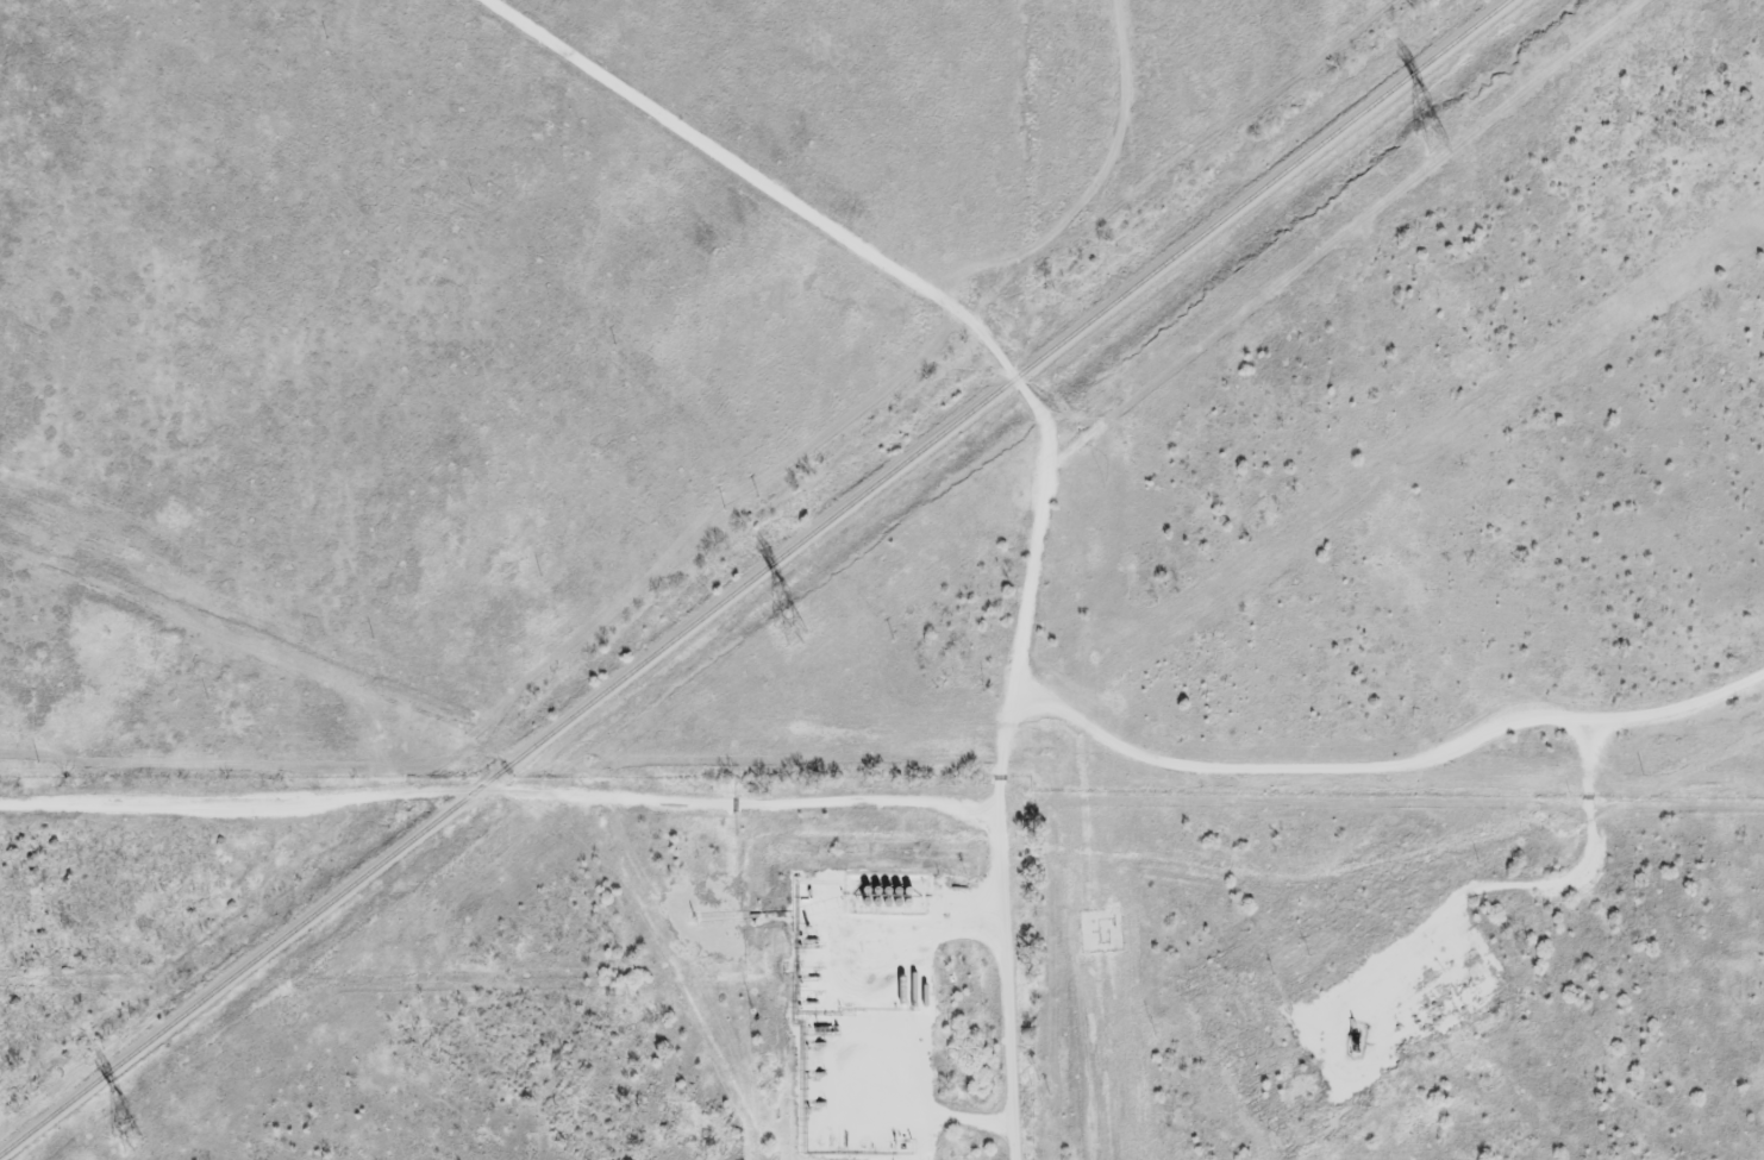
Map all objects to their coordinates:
power tower: (1434, 138)
road: (888, 270)
railway: (758, 577)
power tower: (793, 631)
road: (955, 811)
road: (1549, 890)
road: (1006, 986)
road: (833, 1028)
power tower: (130, 1141)

